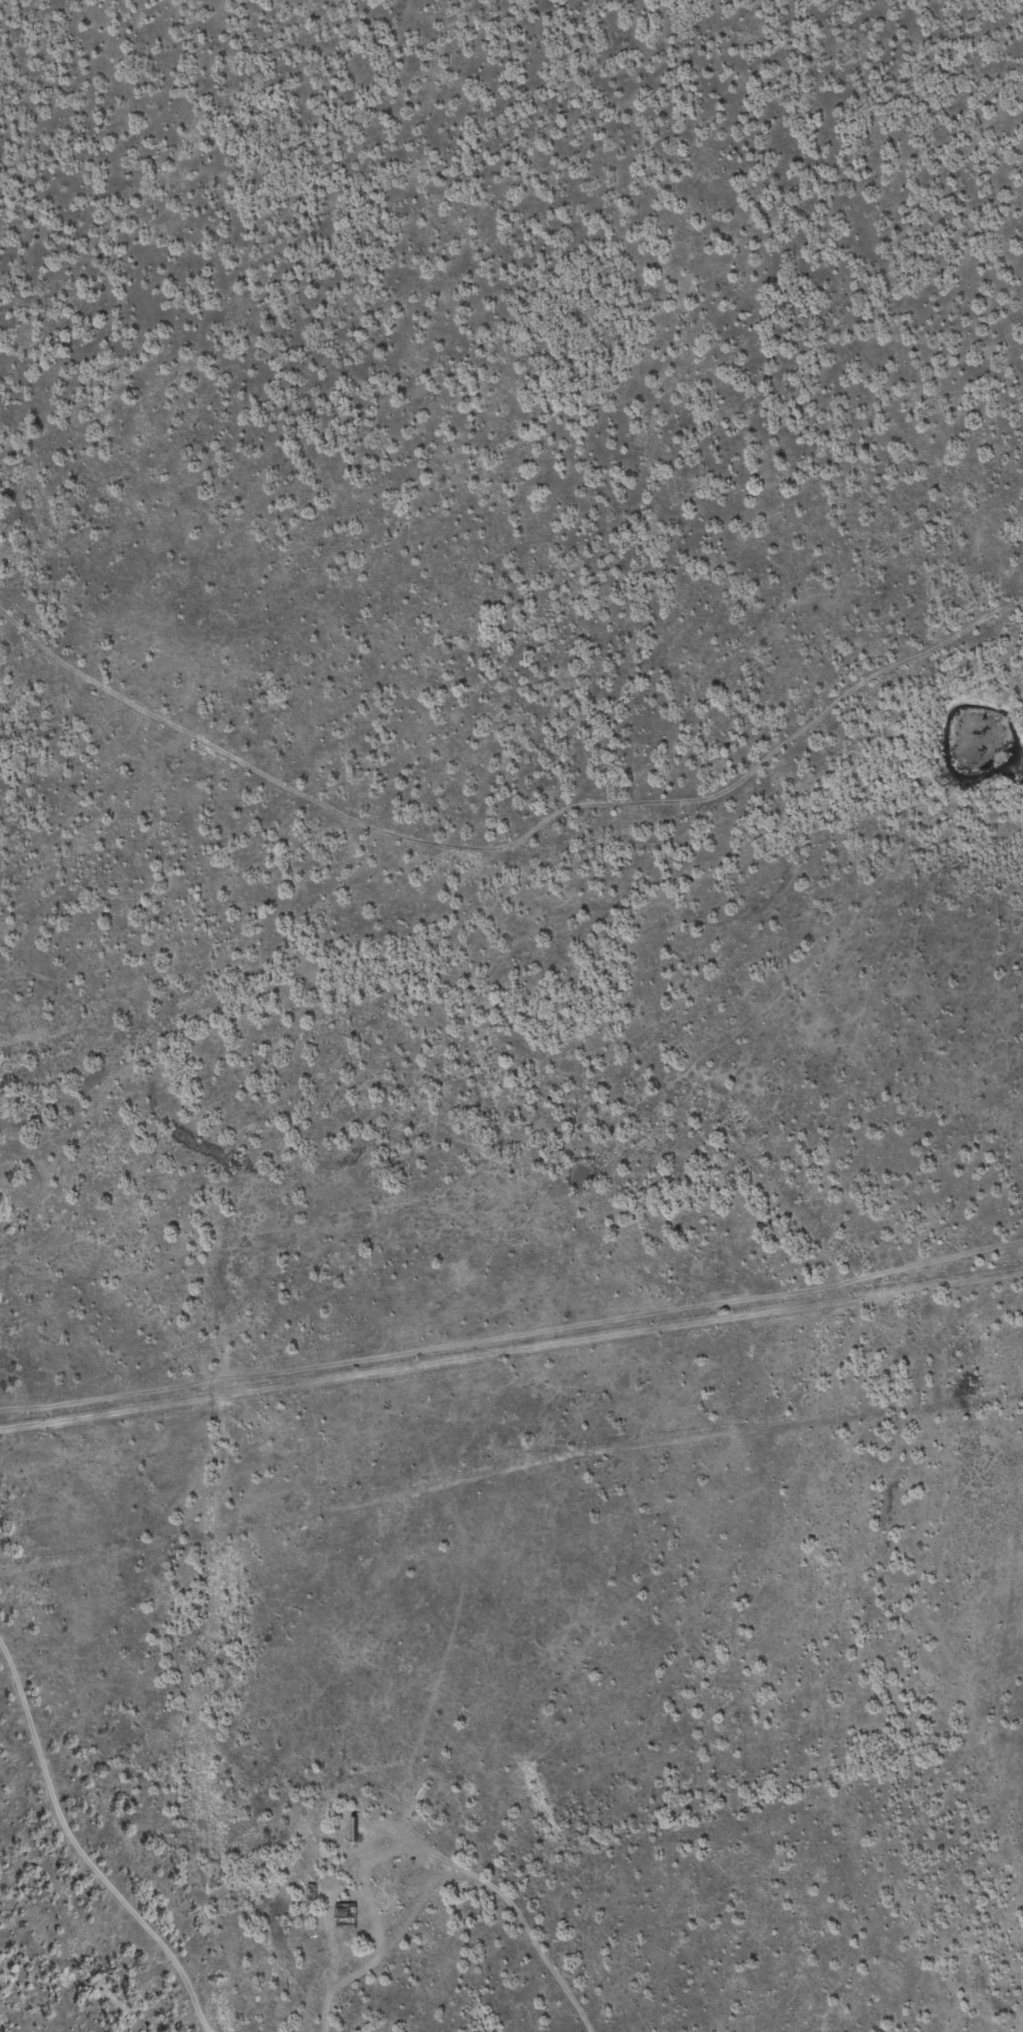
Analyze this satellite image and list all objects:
road: (973, 163)
road: (434, 1811)
road: (77, 1850)
building: (347, 1914)
road: (508, 1980)

